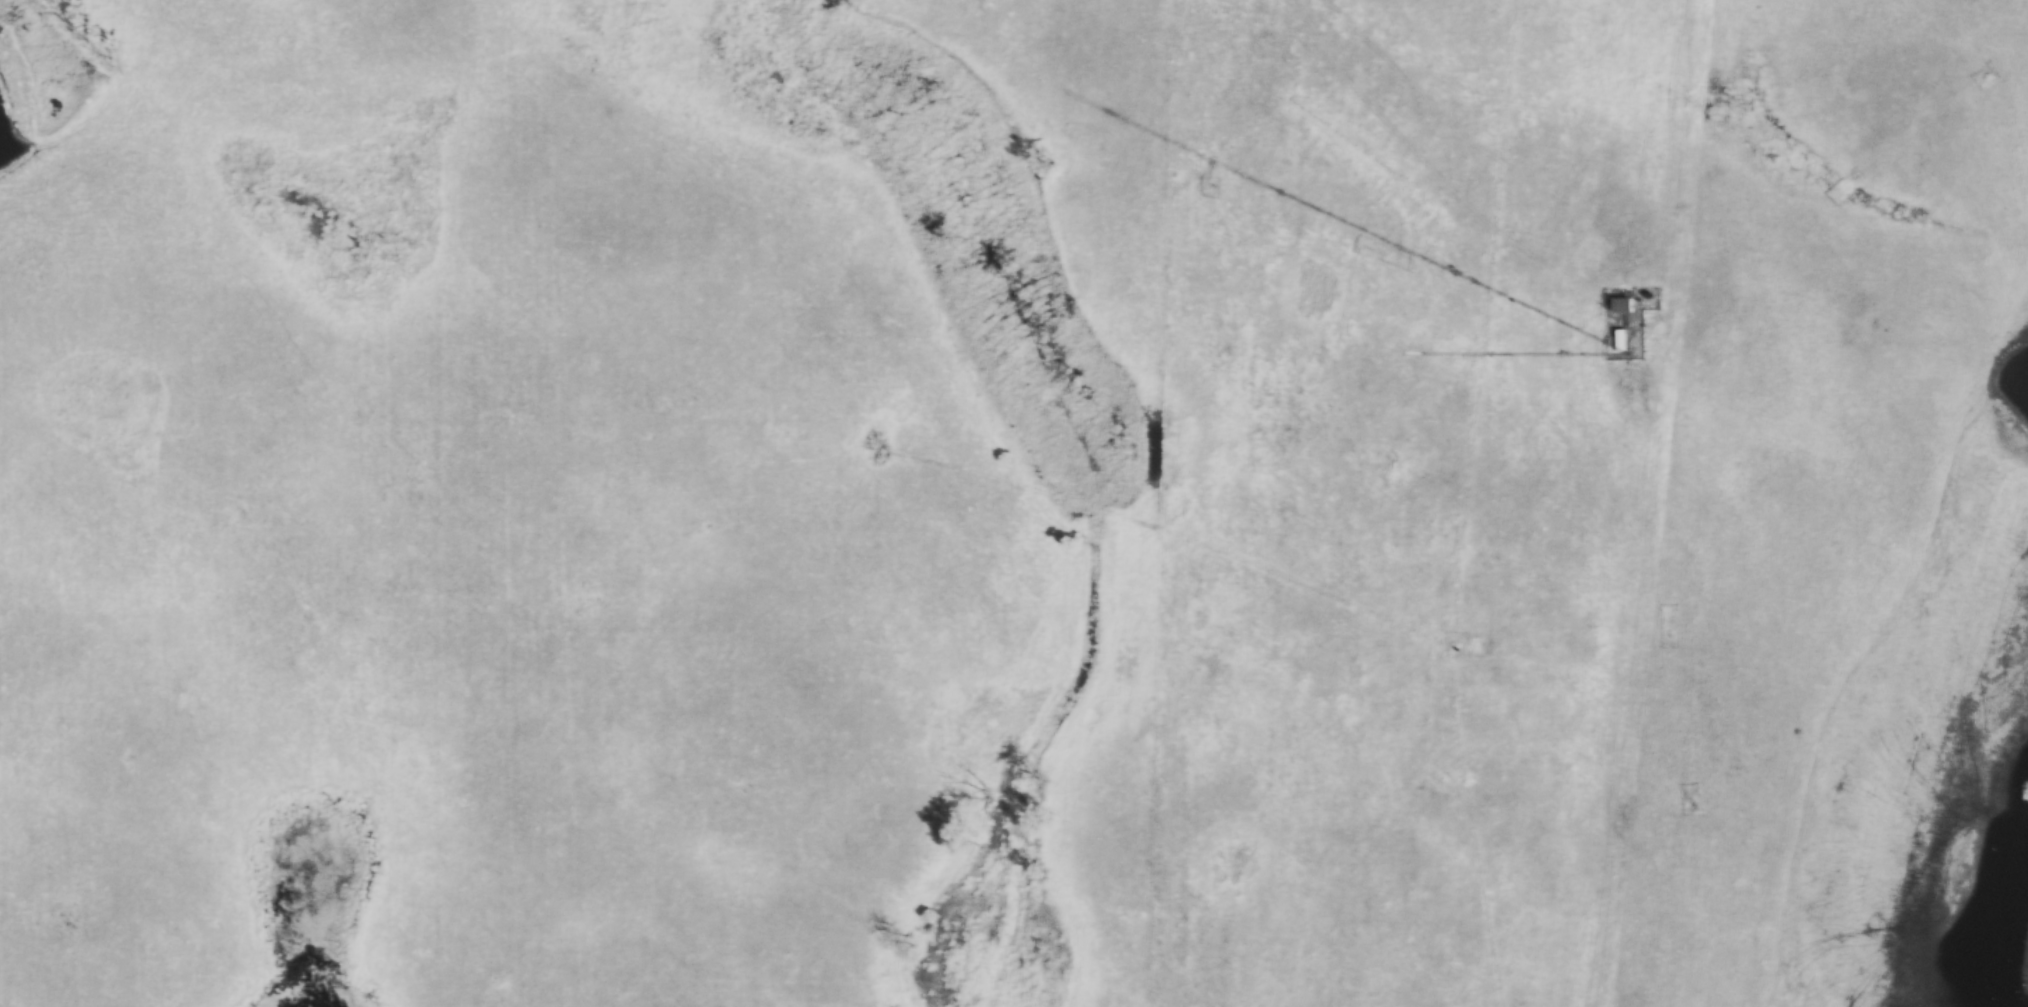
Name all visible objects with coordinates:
road: (1395, 148)
road: (1169, 184)
building: (1622, 304)

